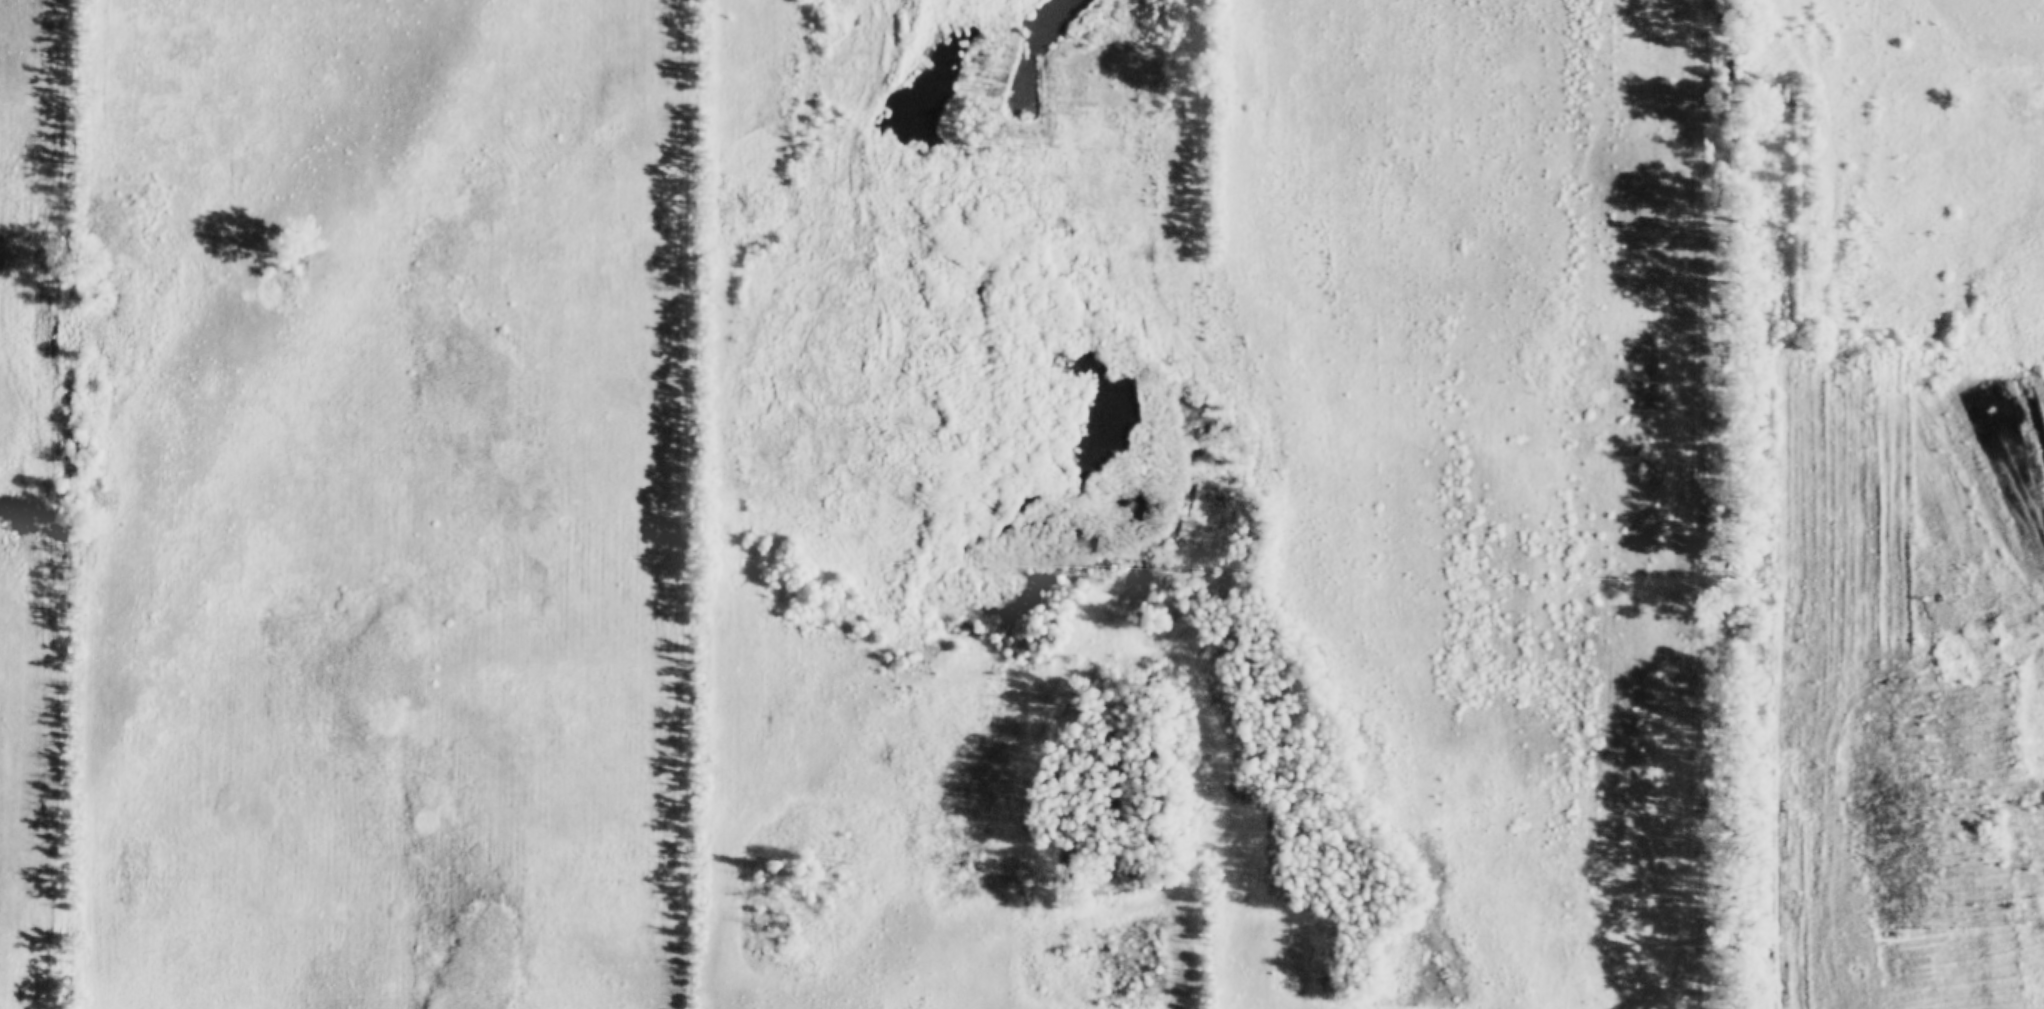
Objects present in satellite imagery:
quarry: (954, 68)
road: (876, 102)

